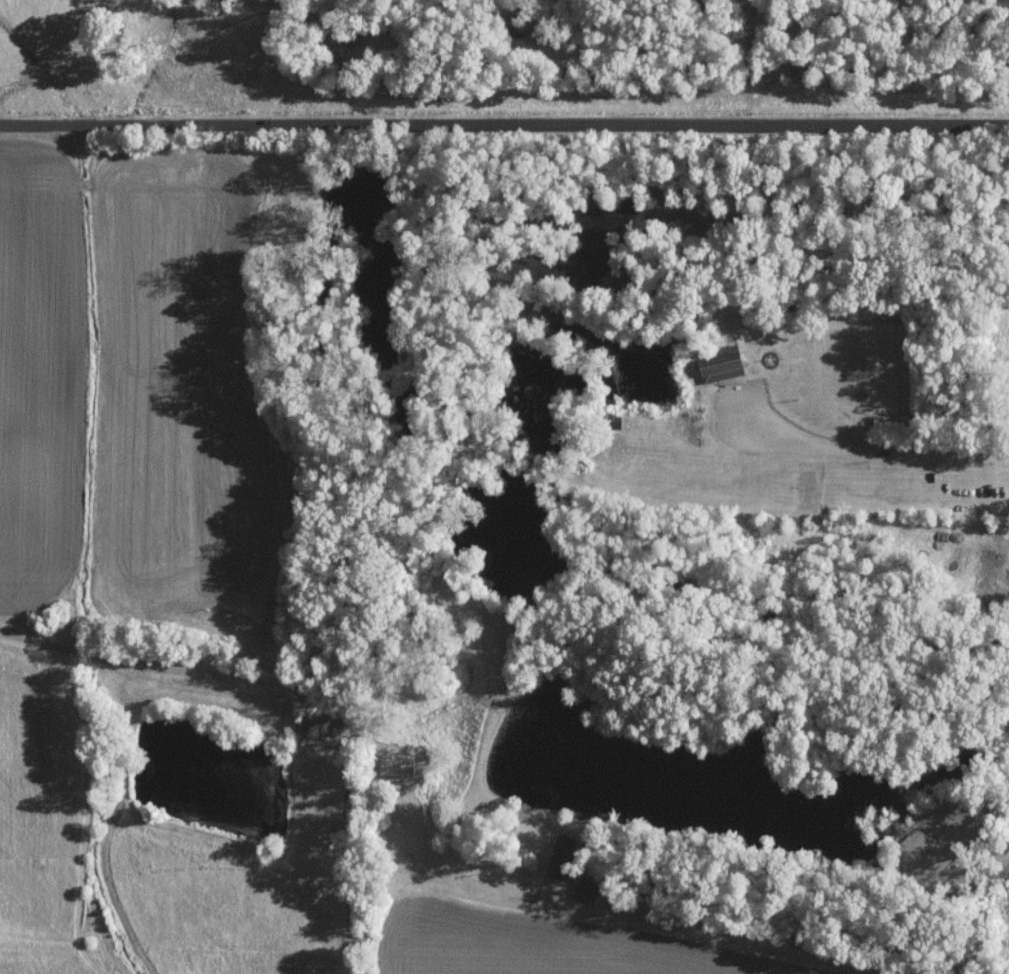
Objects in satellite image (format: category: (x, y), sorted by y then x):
road: (504, 116)
building: (717, 365)
park: (1008, 401)
road: (868, 453)
road: (106, 660)
building: (560, 860)
building: (587, 889)
road: (683, 936)

